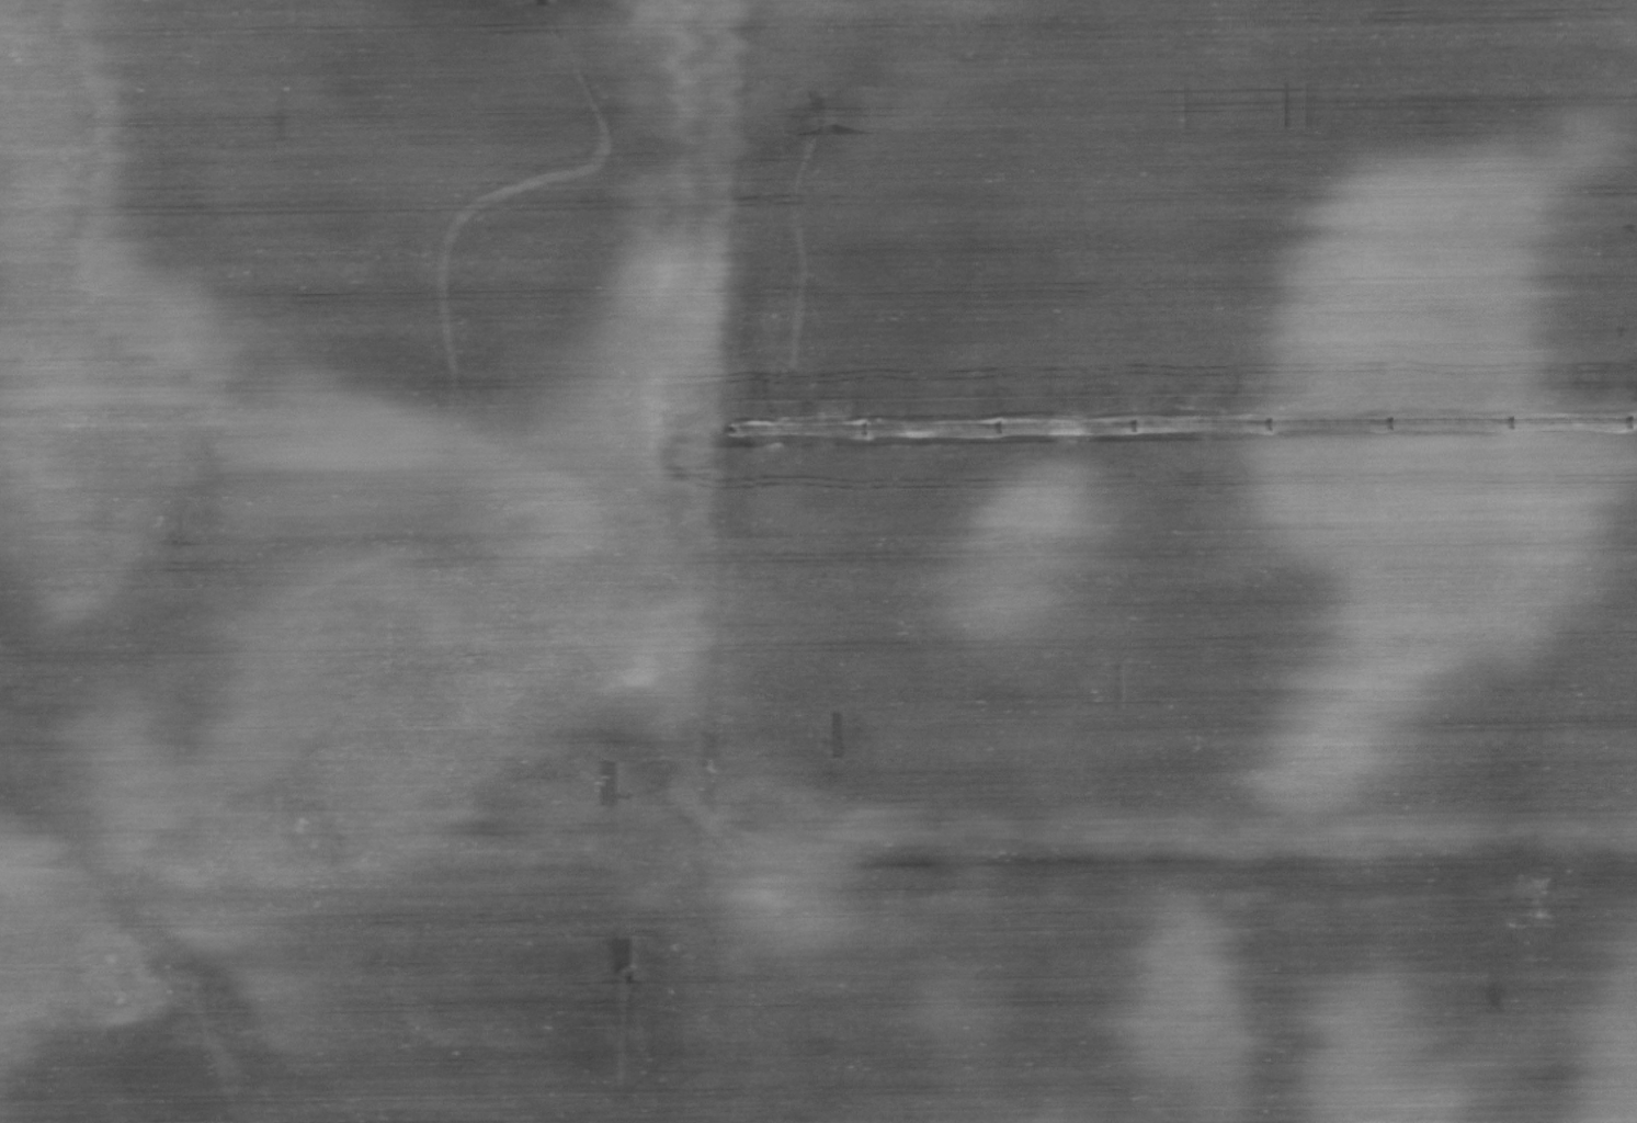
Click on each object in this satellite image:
road: (747, 785)

